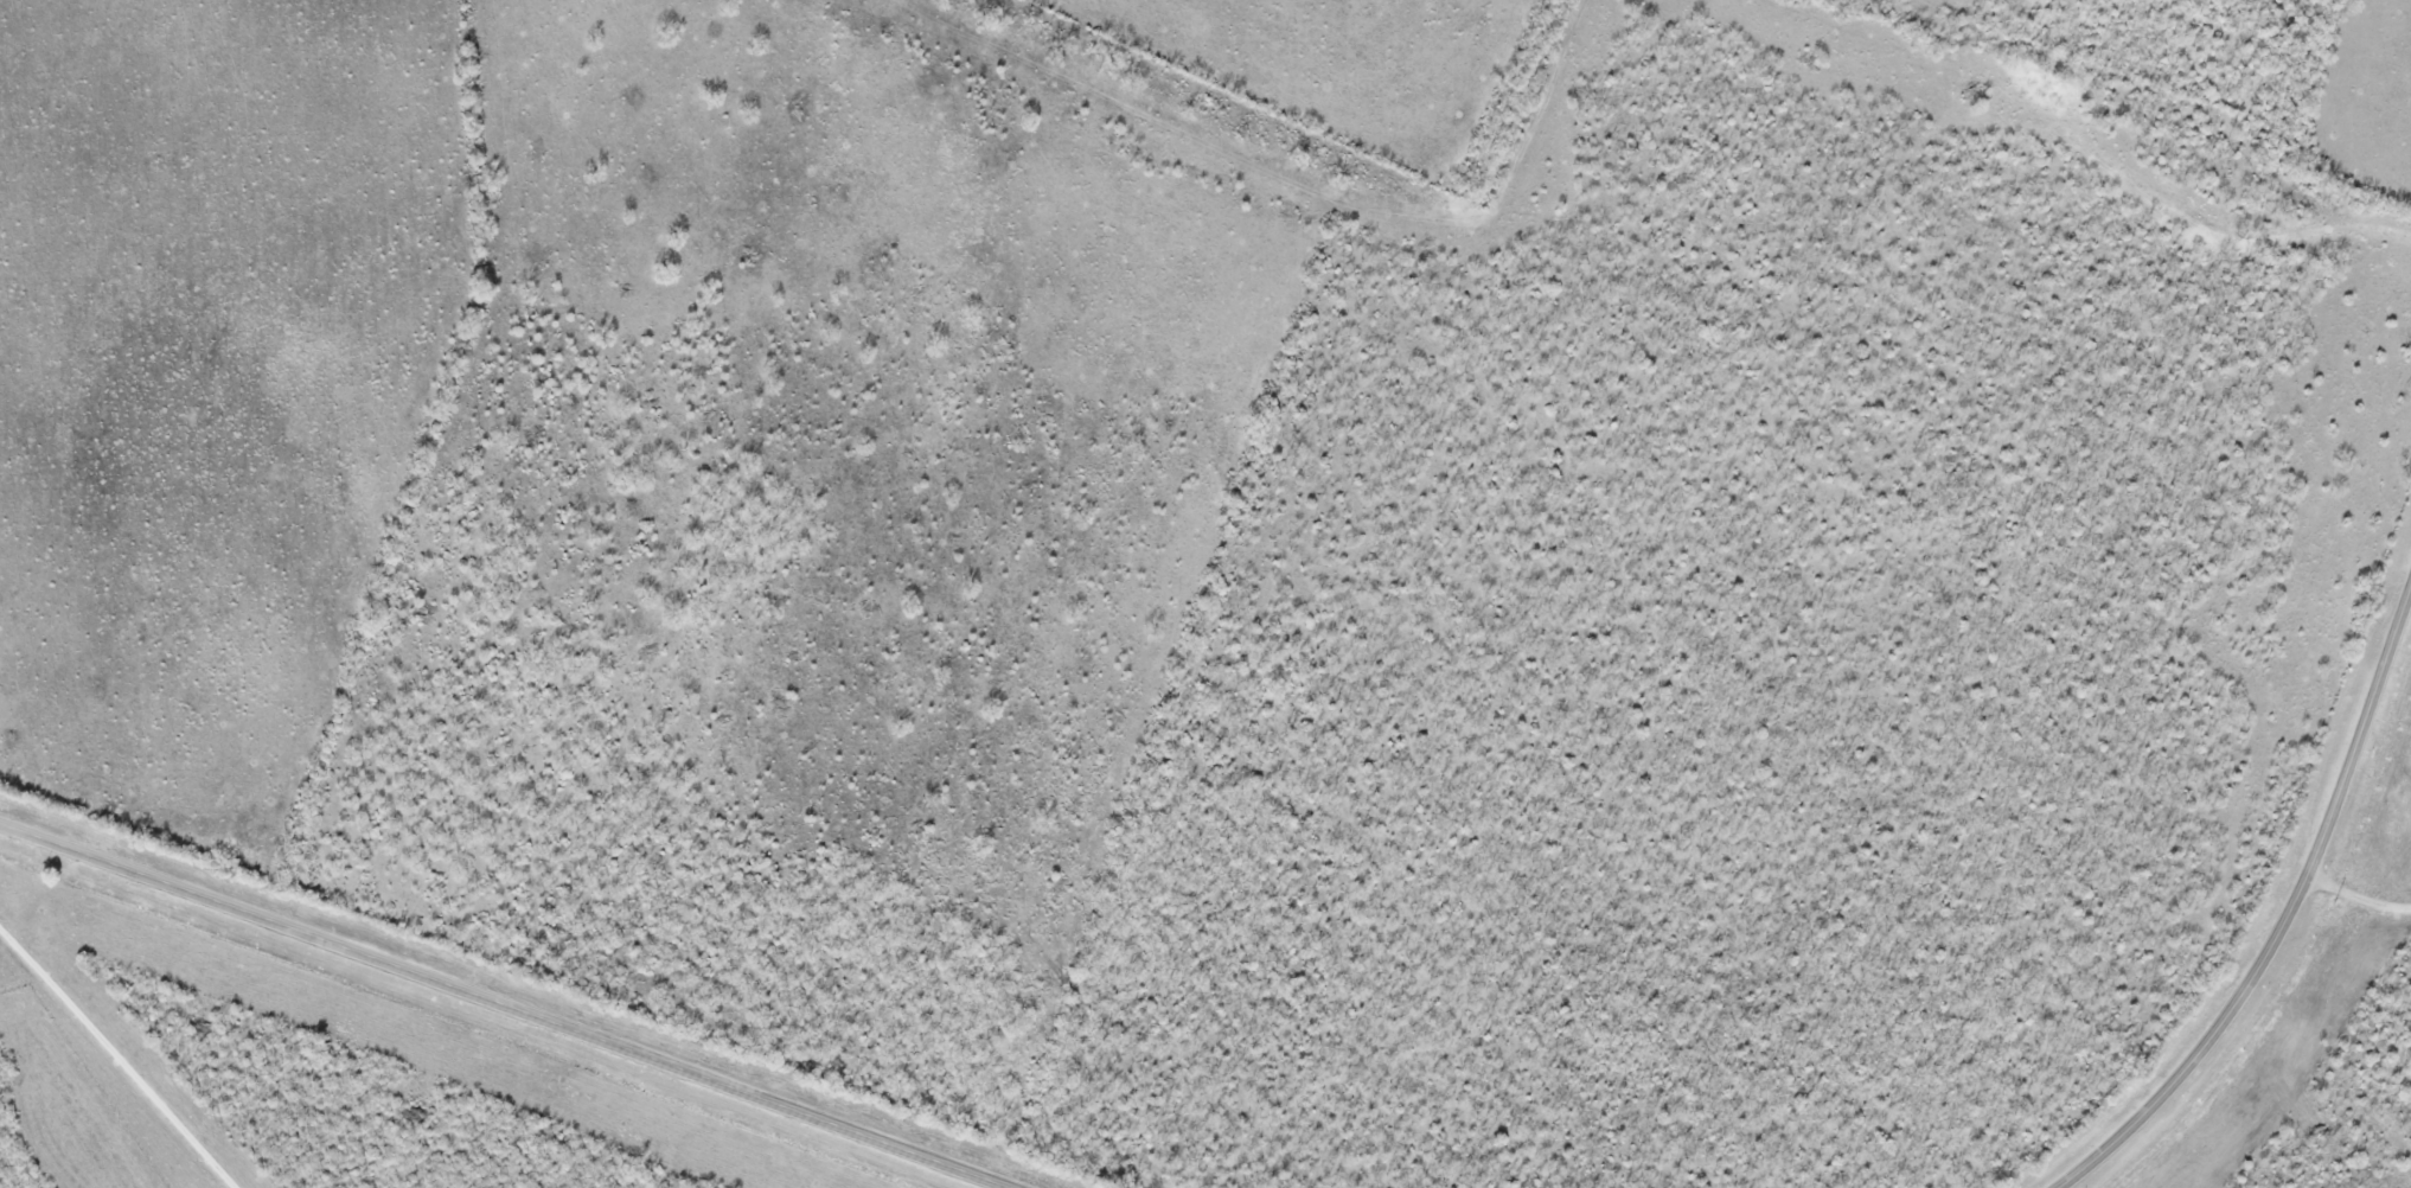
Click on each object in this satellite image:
road: (2289, 931)
road: (501, 1005)

